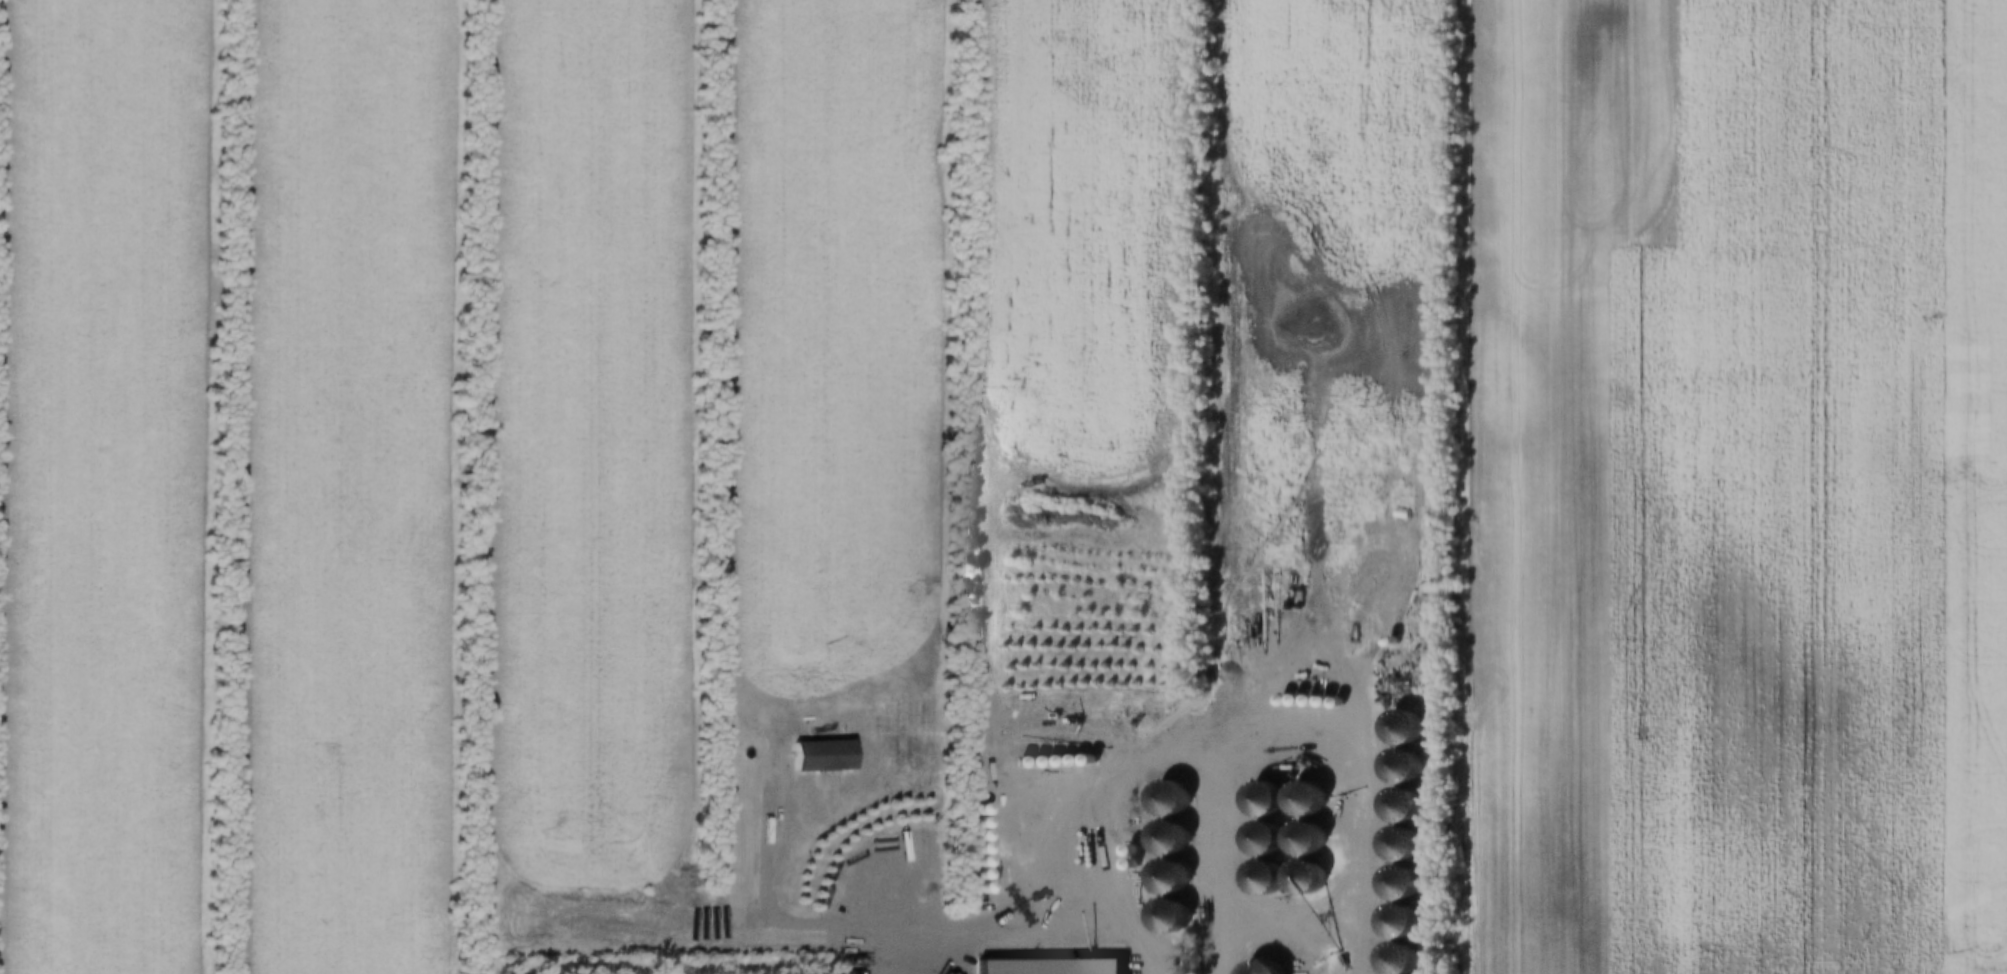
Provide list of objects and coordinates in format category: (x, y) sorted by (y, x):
building: (1386, 641)
silo: (1386, 641)
building: (1277, 700)
silo: (1277, 700)
building: (1290, 701)
silo: (1290, 701)
building: (1304, 701)
silo: (1304, 701)
building: (1318, 702)
silo: (1318, 702)
building: (1331, 702)
silo: (1331, 702)
building: (1397, 728)
silo: (1397, 728)
building: (1084, 758)
silo: (1084, 758)
building: (1059, 759)
silo: (1059, 759)
building: (1072, 759)
silo: (1072, 759)
building: (1032, 760)
silo: (1032, 760)
building: (1046, 760)
silo: (1046, 760)
building: (1018, 761)
silo: (1018, 761)
building: (1396, 766)
silo: (1396, 766)
building: (1164, 800)
silo: (1164, 800)
building: (1300, 800)
silo: (1300, 800)
building: (1258, 801)
silo: (1258, 801)
building: (1395, 805)
silo: (1395, 805)
building: (974, 808)
silo: (974, 808)
building: (974, 822)
silo: (974, 822)
building: (974, 835)
silo: (974, 835)
building: (1164, 839)
silo: (1164, 839)
building: (1258, 840)
silo: (1258, 840)
building: (1300, 840)
silo: (1300, 840)
building: (1394, 844)
silo: (1394, 844)
building: (974, 848)
silo: (974, 848)
building: (1125, 849)
silo: (1125, 849)
building: (974, 861)
silo: (974, 861)
building: (1125, 863)
silo: (1125, 863)
building: (974, 873)
silo: (974, 873)
building: (1164, 878)
silo: (1164, 878)
building: (1259, 879)
silo: (1259, 879)
building: (1299, 879)
silo: (1299, 879)
building: (1394, 882)
silo: (1394, 882)
building: (974, 887)
silo: (974, 887)
building: (1164, 918)
silo: (1164, 918)
building: (1392, 921)
silo: (1392, 921)
building: (1391, 959)
silo: (1391, 959)
building: (1045, 966)
building: (1257, 968)
silo: (1257, 968)

